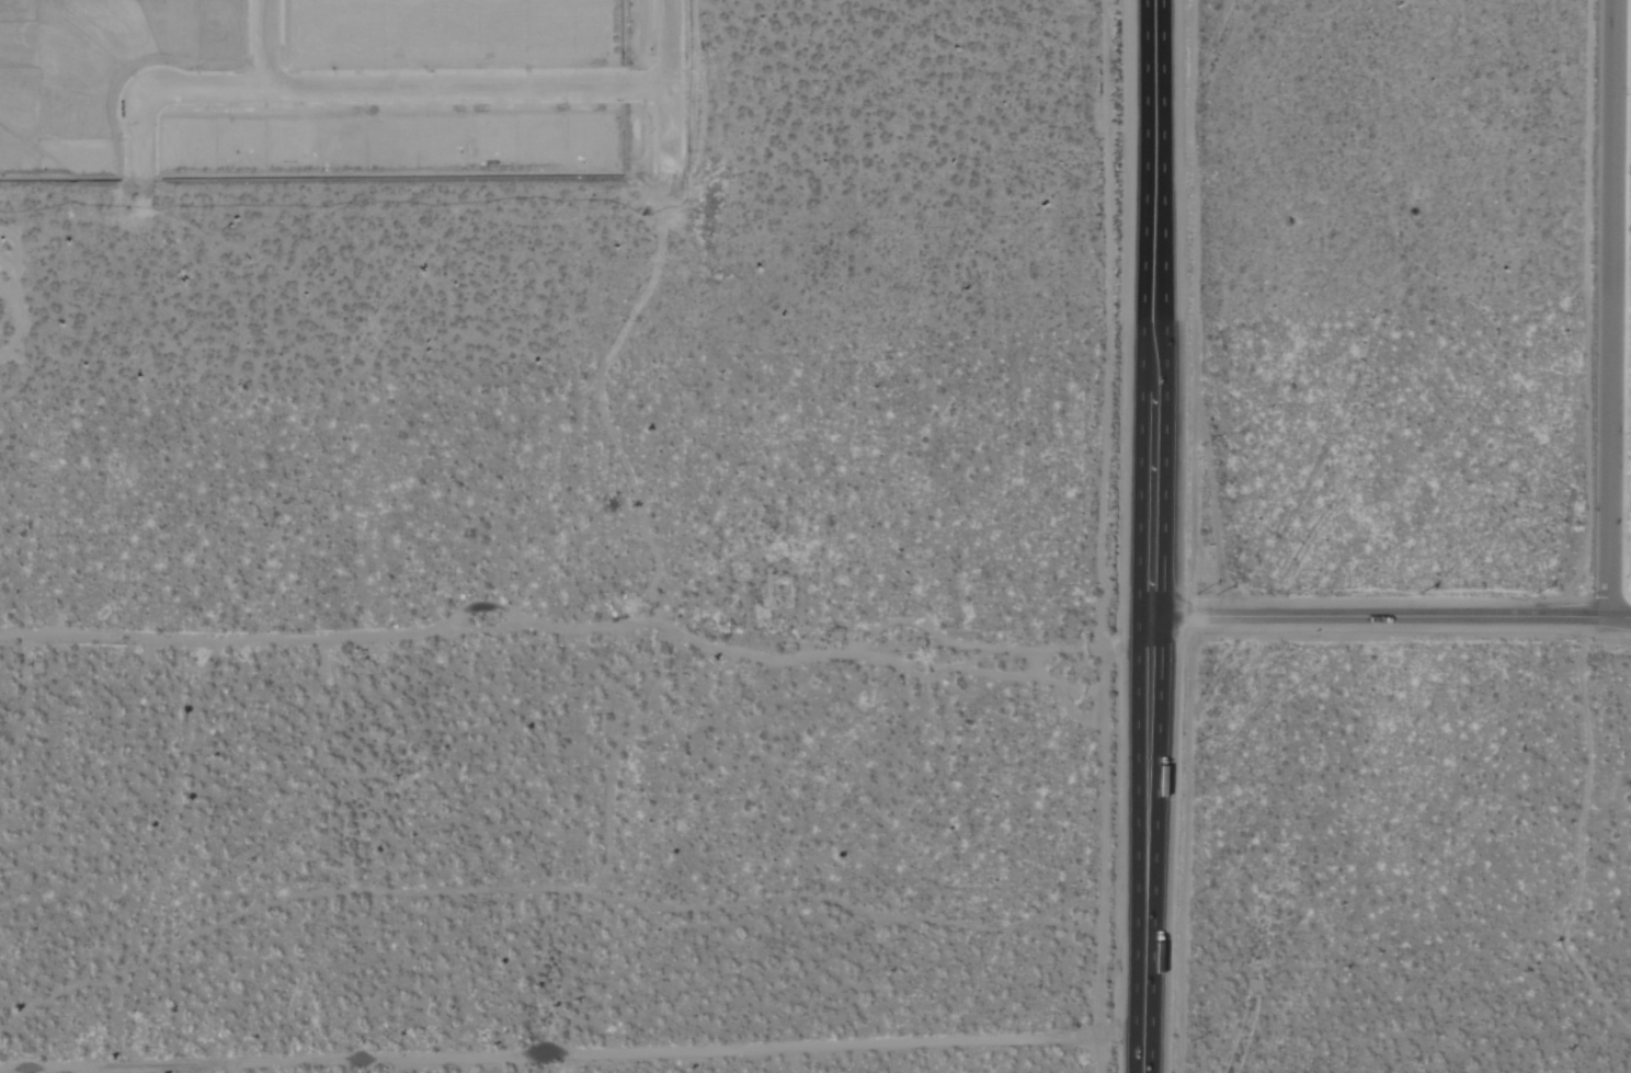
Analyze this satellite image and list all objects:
road: (267, 46)
road: (670, 84)
road: (352, 91)
road: (1152, 171)
road: (1610, 308)
road: (1152, 479)
road: (1391, 616)
road: (584, 628)
road: (1144, 844)
road: (569, 1052)

